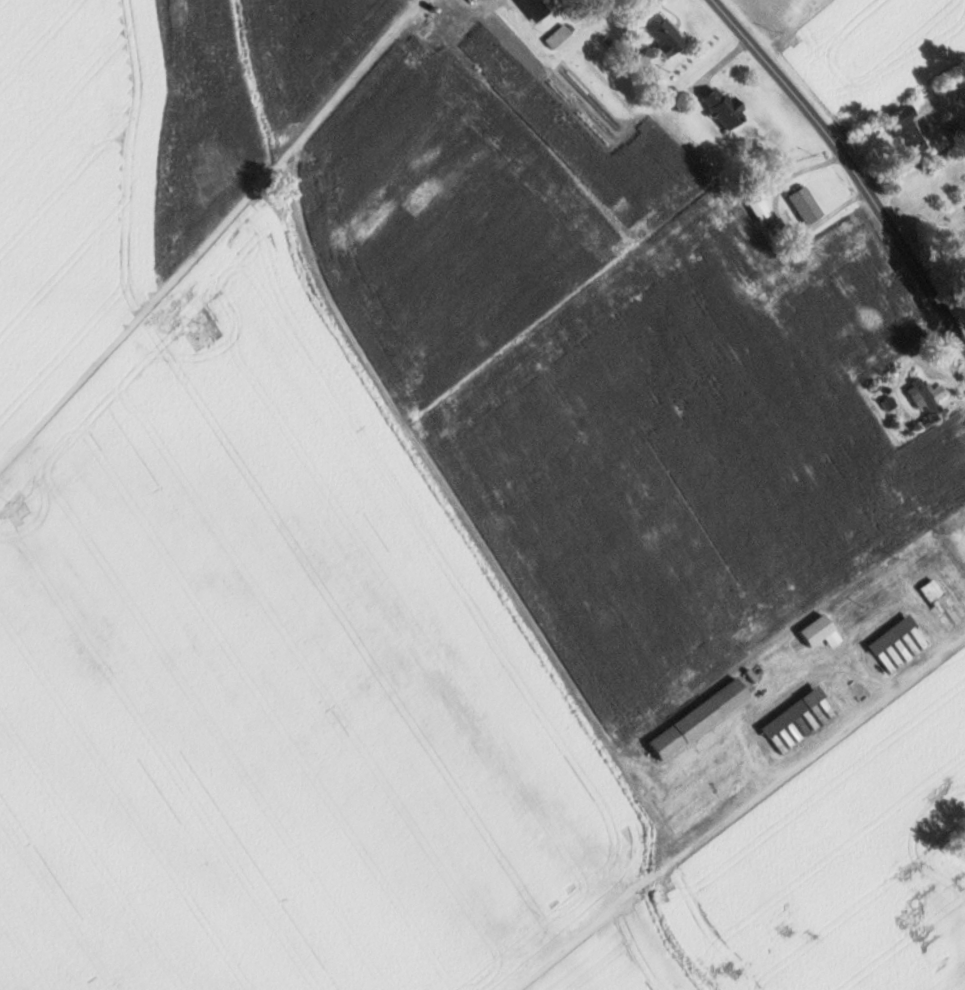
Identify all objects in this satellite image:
building: (481, 6)
building: (663, 35)
building: (559, 36)
building: (726, 109)
building: (909, 131)
road: (850, 166)
building: (807, 204)
road: (213, 235)
building: (930, 392)
building: (931, 560)
building: (943, 604)
building: (900, 644)
building: (800, 720)
road: (736, 811)

